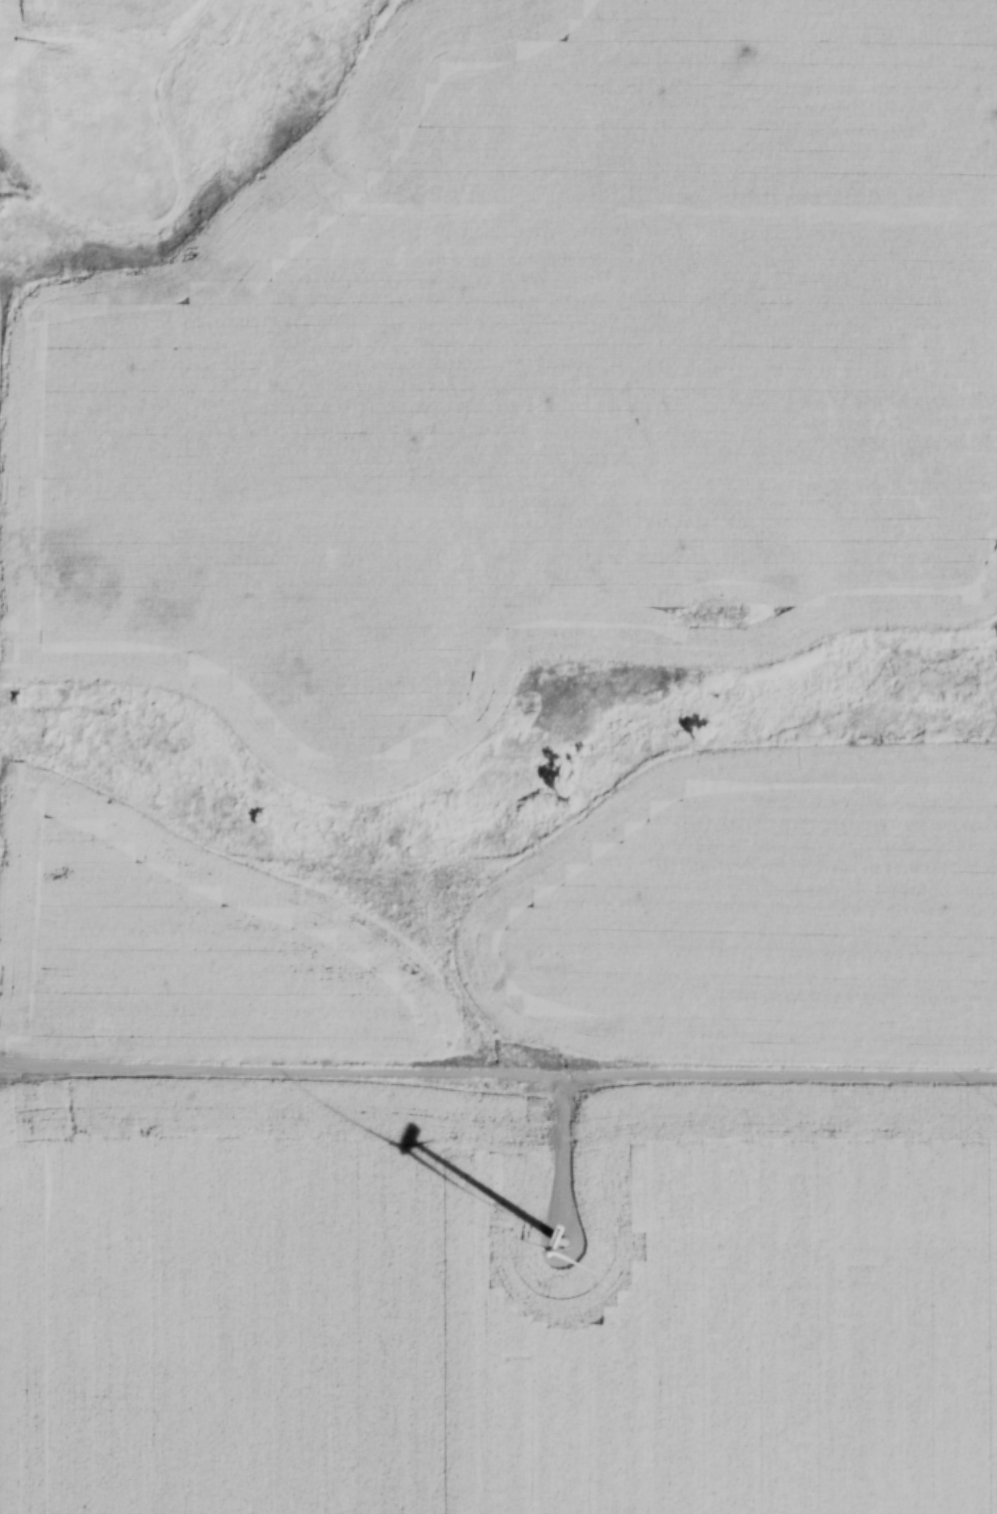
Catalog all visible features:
road: (498, 1076)
wind turbine: (560, 1243)

